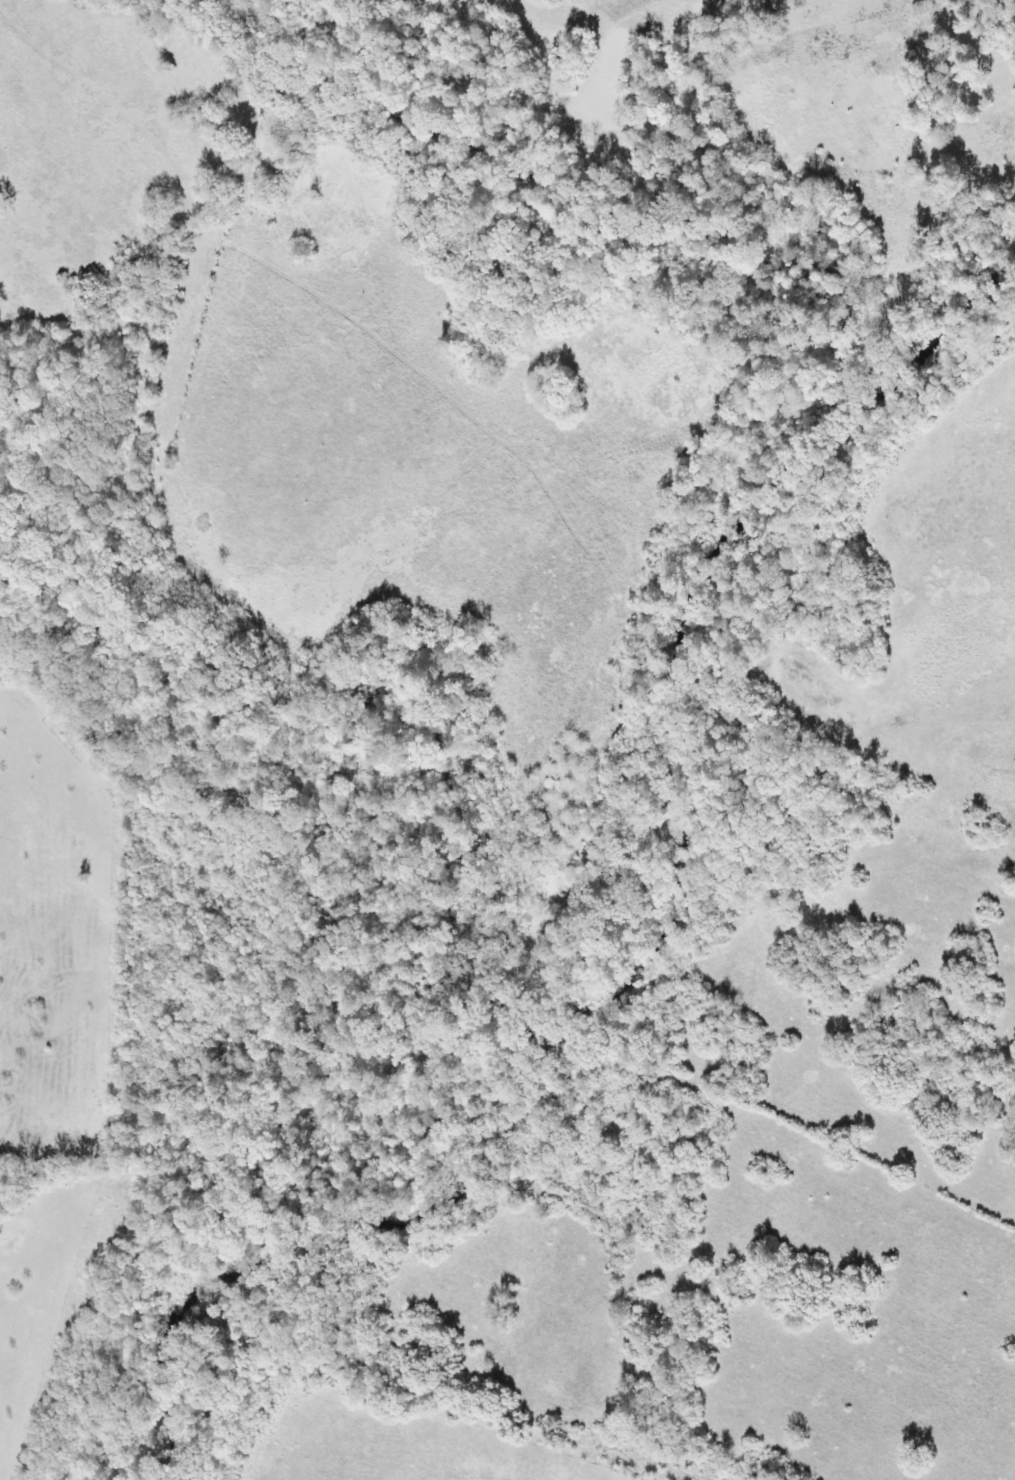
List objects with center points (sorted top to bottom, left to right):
road: (82, 106)

